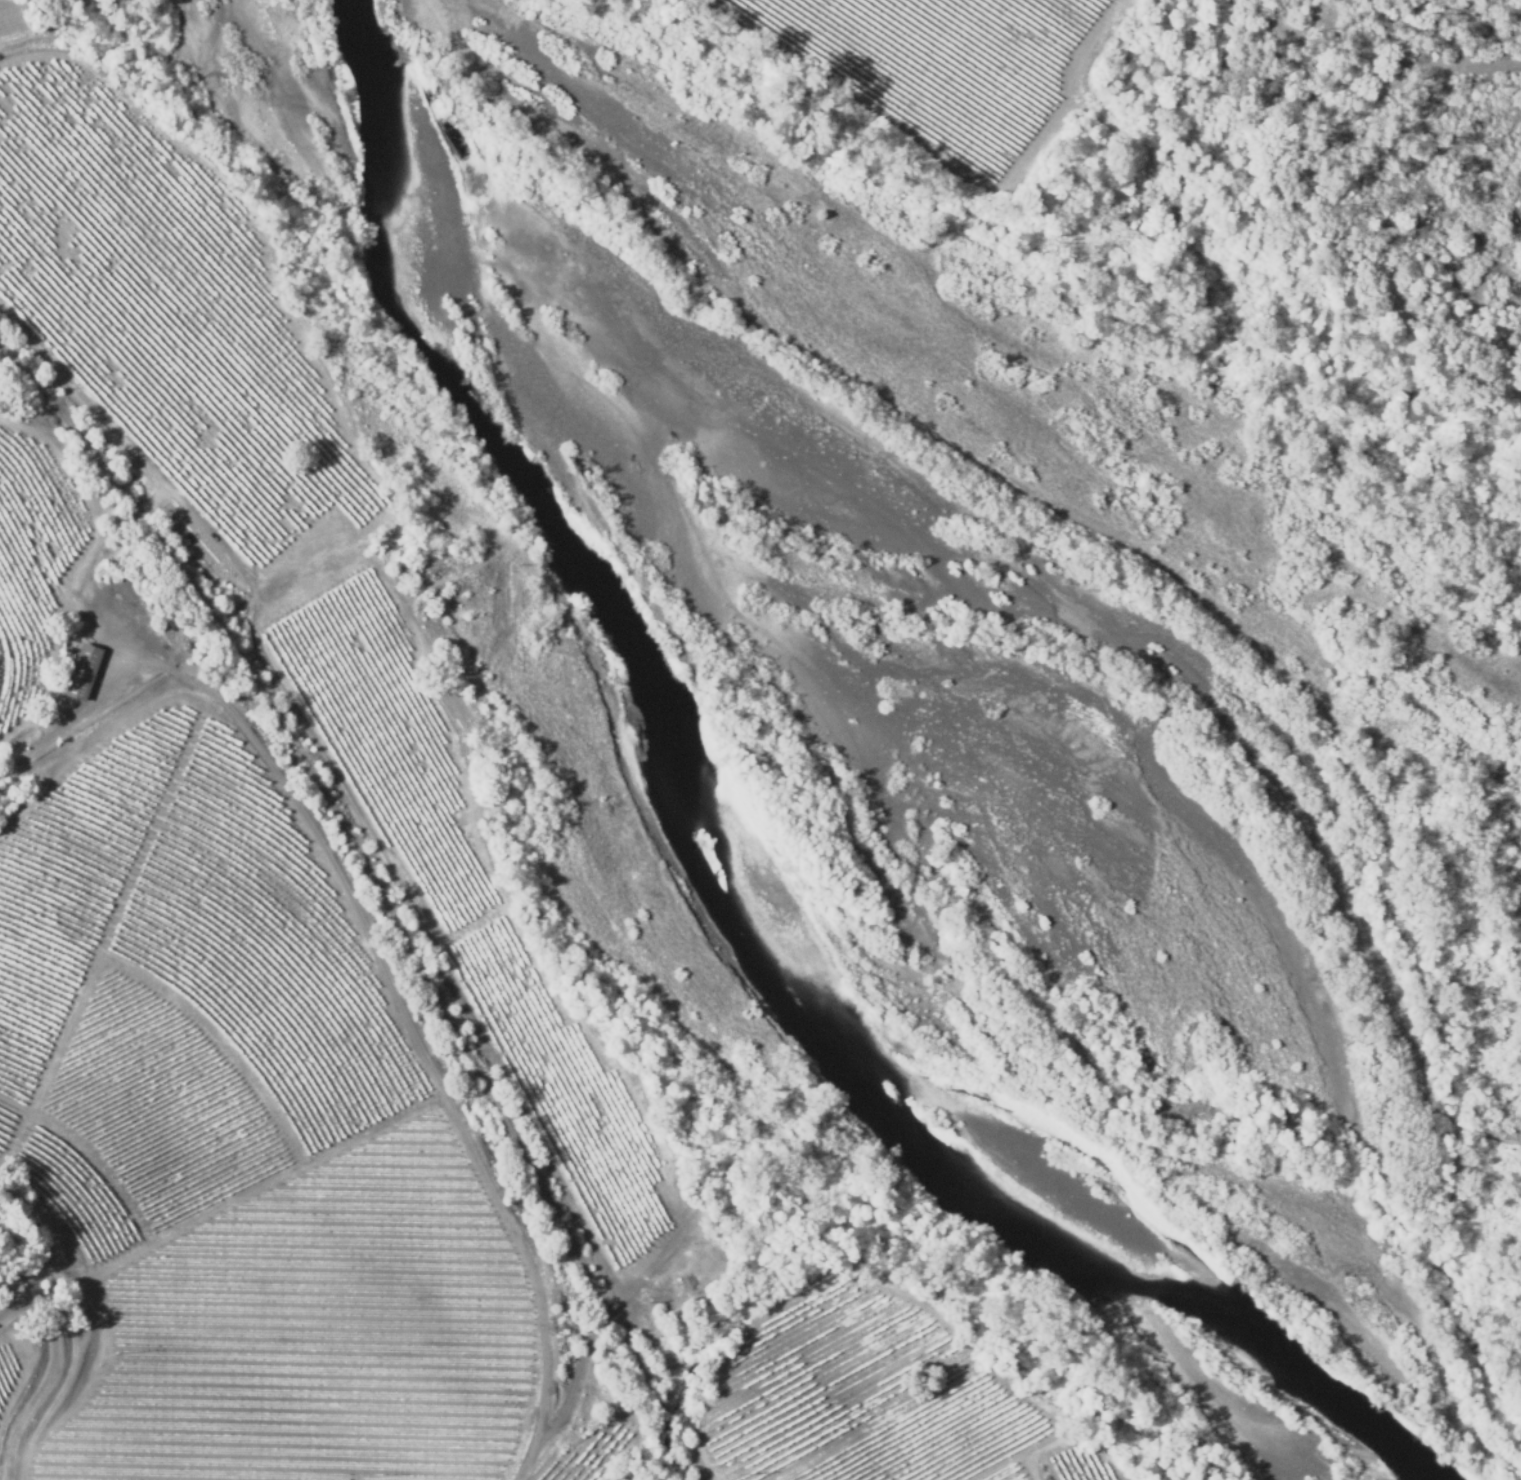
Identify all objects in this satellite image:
building: (82, 671)
river: (784, 832)
railway: (378, 893)

